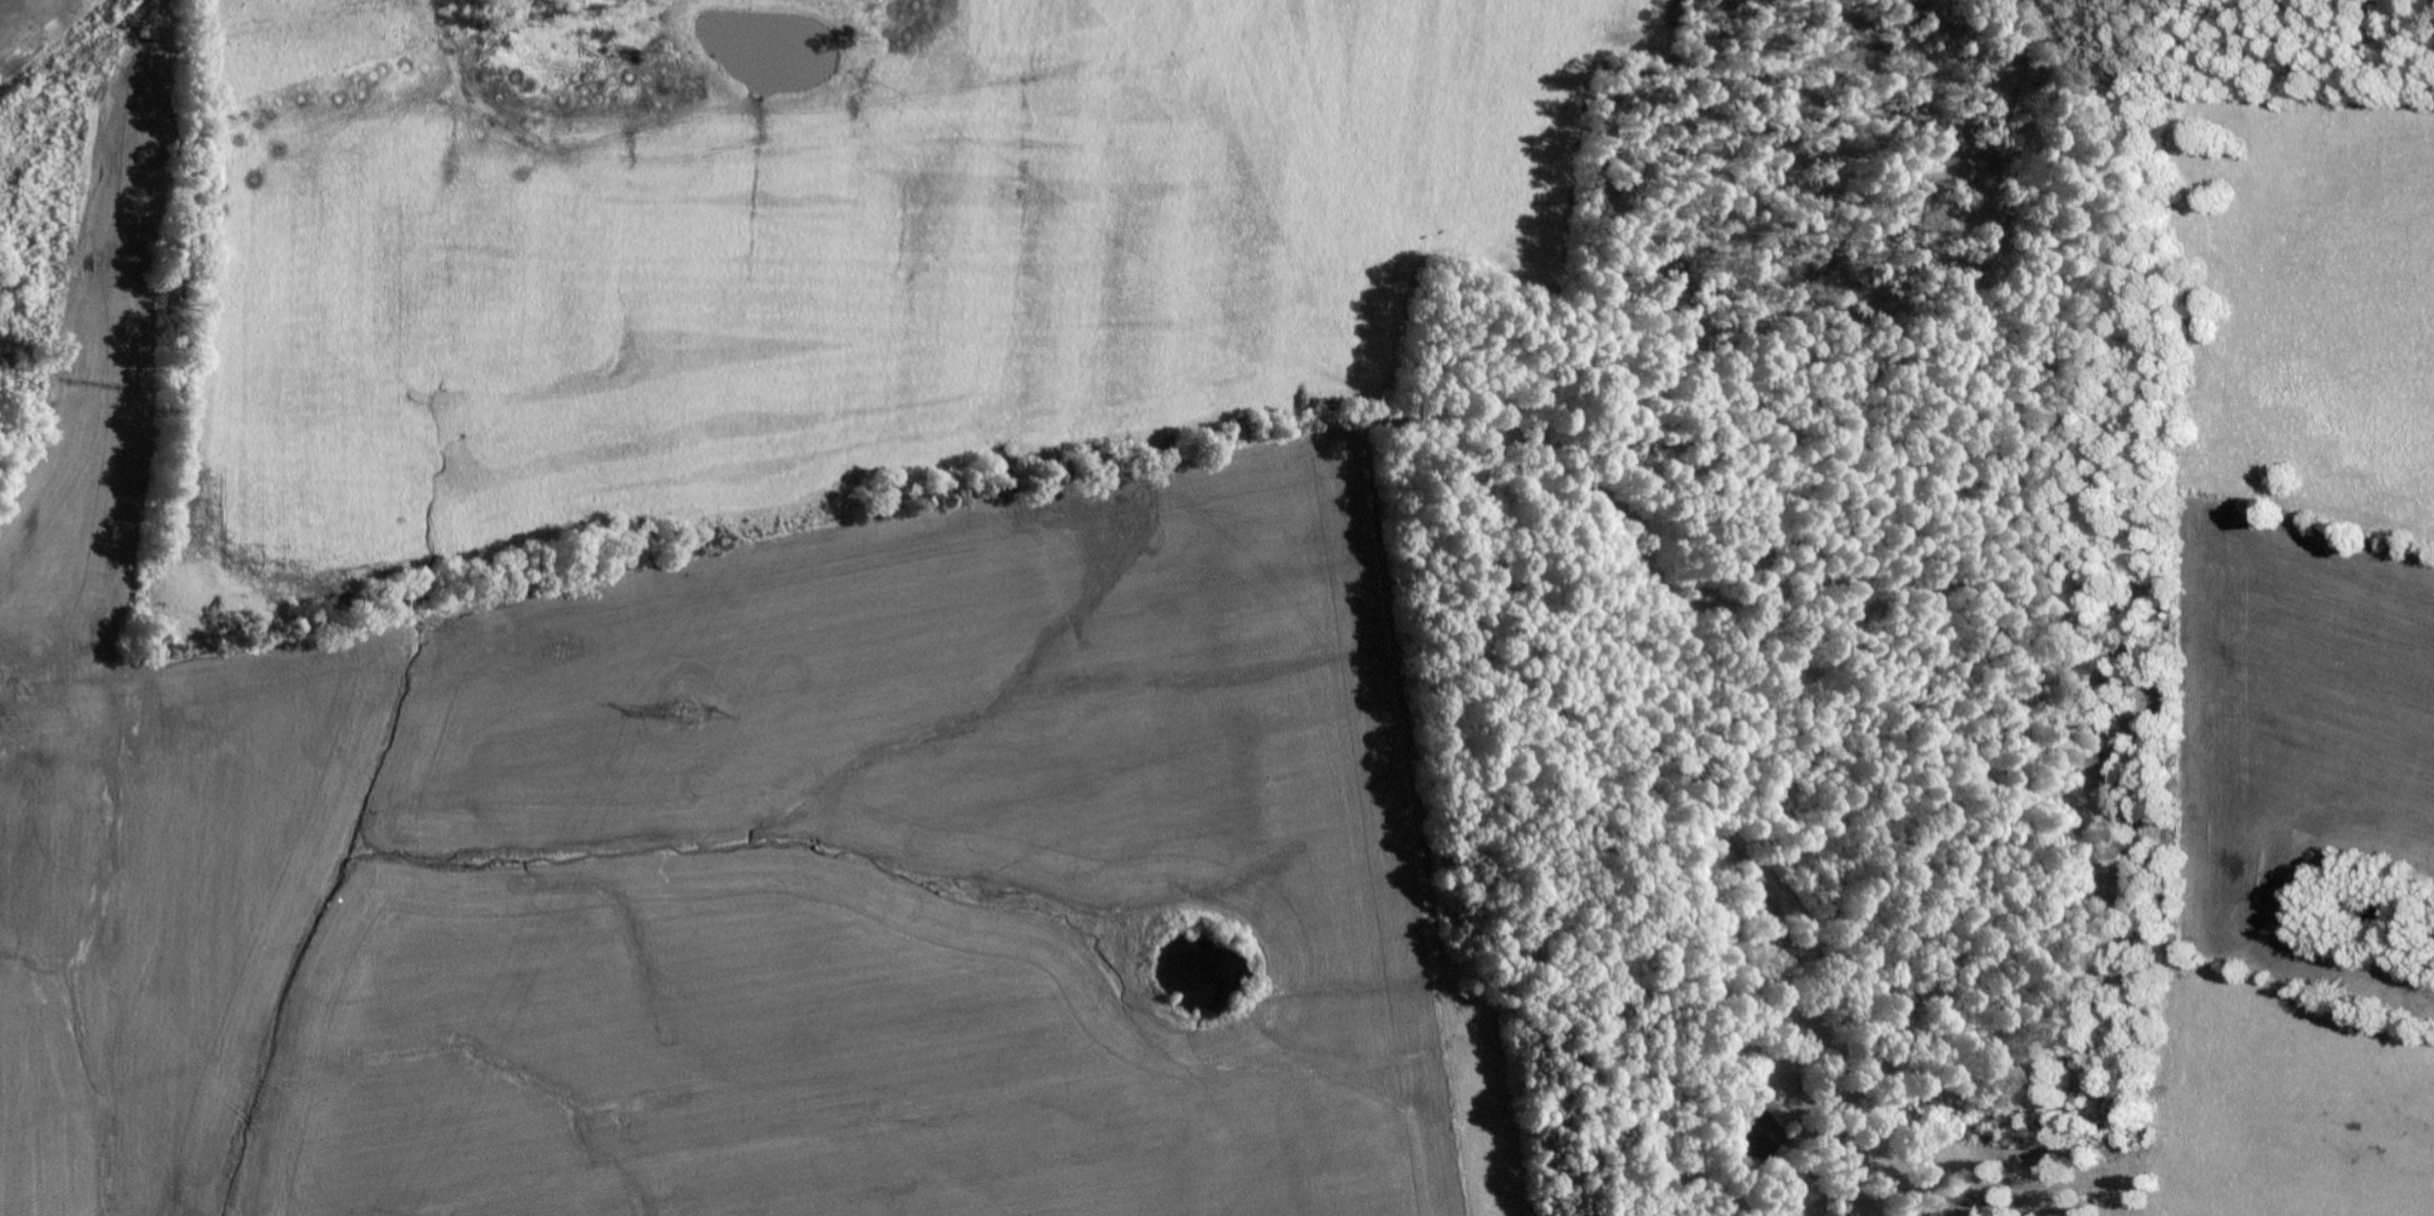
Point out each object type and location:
power tower: (696, 716)

